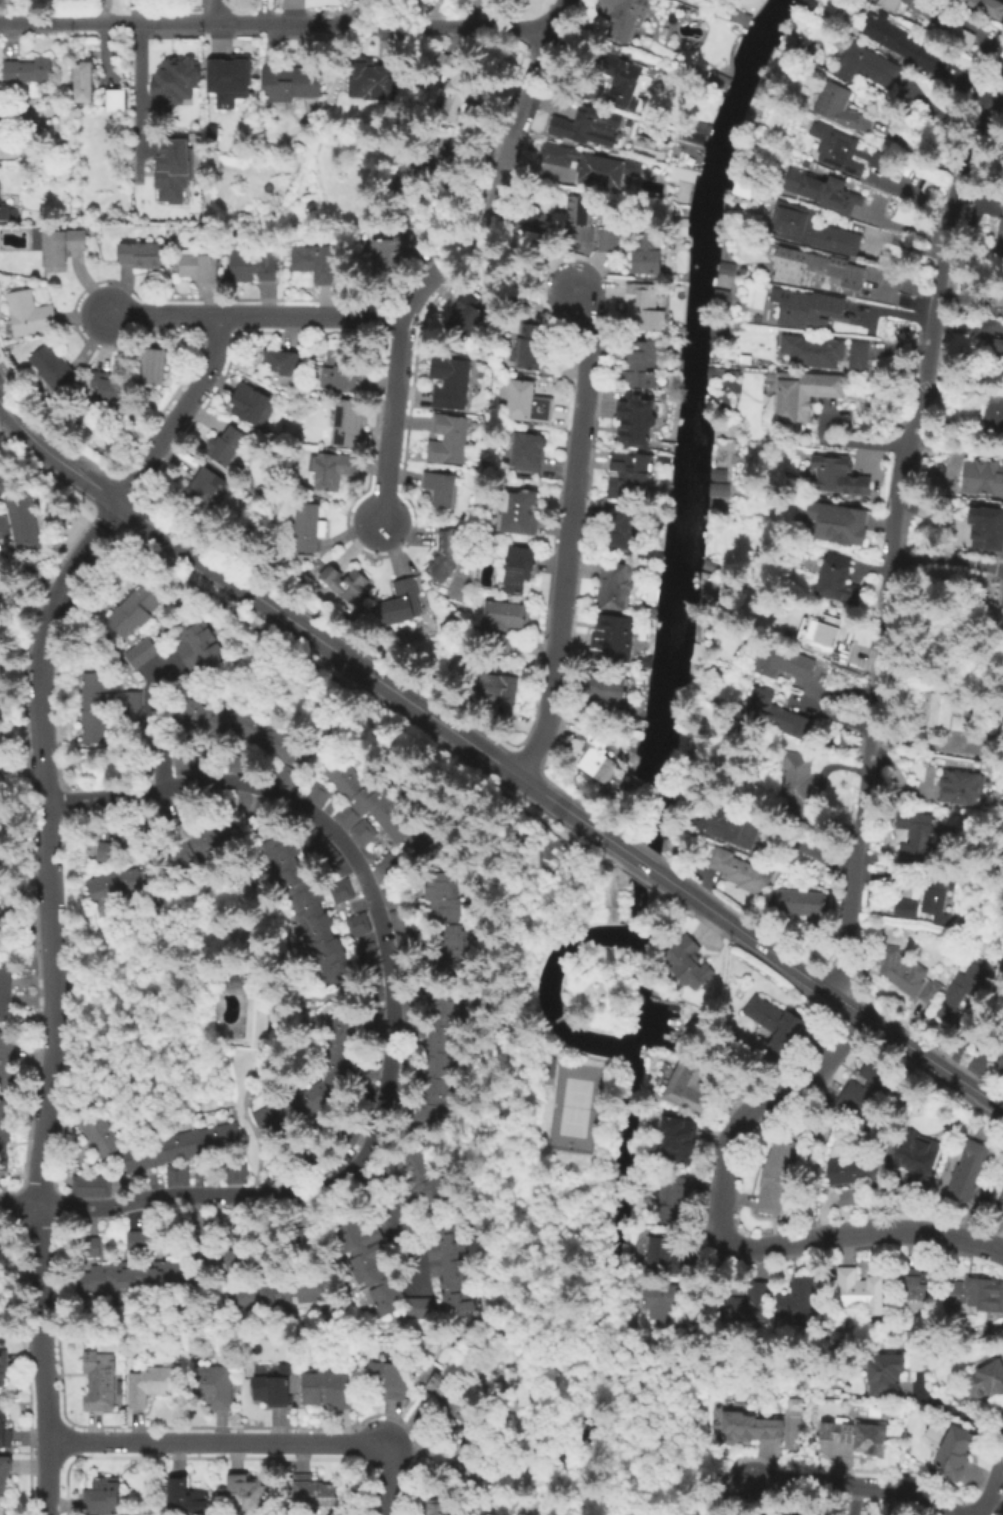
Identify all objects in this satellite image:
building: (507, 1)
building: (915, 6)
building: (988, 7)
road: (218, 10)
building: (625, 18)
road: (278, 20)
building: (958, 35)
building: (903, 45)
building: (869, 67)
building: (29, 71)
building: (232, 80)
building: (623, 81)
building: (85, 82)
building: (293, 83)
building: (458, 84)
building: (168, 87)
building: (362, 90)
road: (137, 98)
building: (117, 101)
road: (525, 101)
building: (838, 105)
building: (578, 126)
building: (5, 129)
building: (690, 141)
building: (837, 151)
building: (882, 163)
building: (591, 166)
building: (171, 169)
building: (681, 176)
building: (741, 189)
building: (825, 194)
building: (4, 210)
building: (579, 218)
building: (812, 230)
road: (471, 233)
building: (999, 239)
building: (610, 243)
building: (59, 249)
building: (647, 253)
building: (141, 256)
building: (387, 256)
building: (317, 262)
building: (253, 266)
building: (724, 268)
building: (200, 269)
building: (818, 271)
building: (997, 295)
building: (643, 309)
building: (807, 310)
road: (260, 314)
building: (31, 315)
building: (466, 320)
building: (995, 348)
building: (812, 351)
building: (530, 354)
building: (859, 357)
building: (998, 360)
building: (284, 365)
building: (641, 366)
building: (53, 368)
building: (155, 368)
building: (336, 374)
road: (392, 380)
building: (452, 385)
building: (109, 390)
building: (805, 394)
building: (529, 405)
building: (252, 407)
road: (181, 413)
building: (994, 418)
building: (635, 421)
road: (19, 423)
building: (349, 424)
building: (450, 441)
road: (954, 446)
building: (230, 447)
building: (529, 453)
building: (331, 470)
building: (631, 471)
road: (81, 474)
building: (715, 474)
building: (837, 477)
building: (981, 477)
building: (3, 480)
building: (205, 490)
building: (442, 492)
building: (716, 493)
building: (519, 513)
building: (20, 521)
building: (839, 525)
building: (3, 527)
building: (986, 527)
building: (626, 529)
building: (310, 530)
road: (570, 536)
road: (889, 541)
building: (445, 557)
road: (945, 561)
road: (31, 570)
building: (518, 571)
building: (840, 584)
building: (347, 586)
building: (612, 588)
building: (3, 600)
building: (401, 606)
building: (133, 613)
building: (507, 619)
building: (836, 639)
building: (613, 641)
building: (203, 650)
building: (138, 652)
building: (784, 664)
road: (364, 671)
building: (2, 688)
building: (500, 689)
building: (608, 692)
building: (130, 705)
building: (99, 709)
building: (777, 714)
building: (952, 715)
road: (153, 722)
building: (249, 732)
building: (596, 751)
building: (1, 762)
building: (183, 766)
building: (283, 777)
building: (797, 783)
building: (963, 789)
building: (385, 810)
building: (729, 828)
building: (919, 835)
building: (1, 838)
road: (45, 841)
building: (106, 850)
building: (198, 850)
building: (323, 851)
building: (529, 854)
road: (641, 862)
building: (383, 868)
building: (740, 872)
building: (122, 884)
building: (339, 890)
building: (938, 901)
building: (802, 904)
building: (307, 908)
building: (908, 908)
building: (399, 914)
building: (449, 926)
building: (362, 927)
building: (368, 956)
building: (687, 964)
building: (908, 977)
building: (235, 981)
building: (962, 990)
building: (4, 992)
road: (836, 997)
road: (394, 1005)
building: (416, 1020)
building: (777, 1030)
building: (343, 1049)
building: (441, 1058)
building: (1000, 1061)
building: (6, 1064)
building: (690, 1078)
building: (869, 1093)
building: (316, 1101)
park: (574, 1108)
building: (269, 1118)
building: (680, 1136)
building: (105, 1138)
building: (182, 1148)
building: (914, 1160)
building: (970, 1169)
building: (234, 1172)
building: (848, 1174)
building: (174, 1175)
building: (775, 1176)
building: (420, 1179)
building: (89, 1186)
building: (849, 1199)
building: (679, 1201)
road: (18, 1202)
building: (1000, 1207)
road: (388, 1219)
road: (725, 1237)
building: (136, 1240)
building: (89, 1246)
building: (230, 1256)
building: (663, 1262)
building: (368, 1263)
road: (39, 1267)
building: (455, 1271)
building: (142, 1278)
building: (917, 1289)
building: (859, 1292)
building: (284, 1293)
building: (977, 1296)
building: (748, 1305)
building: (801, 1305)
building: (419, 1307)
building: (664, 1314)
building: (3, 1370)
building: (884, 1375)
building: (390, 1380)
building: (986, 1383)
building: (100, 1384)
building: (152, 1386)
building: (213, 1388)
building: (272, 1390)
building: (328, 1390)
building: (451, 1391)
building: (793, 1403)
road: (953, 1410)
road: (44, 1423)
building: (749, 1429)
building: (4, 1430)
building: (932, 1432)
building: (857, 1438)
road: (248, 1443)
building: (956, 1453)
building: (4, 1476)
road: (992, 1482)
road: (859, 1485)
building: (247, 1492)
building: (314, 1494)
building: (104, 1496)
building: (186, 1498)
road: (742, 1498)
road: (713, 1501)
building: (433, 1508)
building: (796, 1512)

